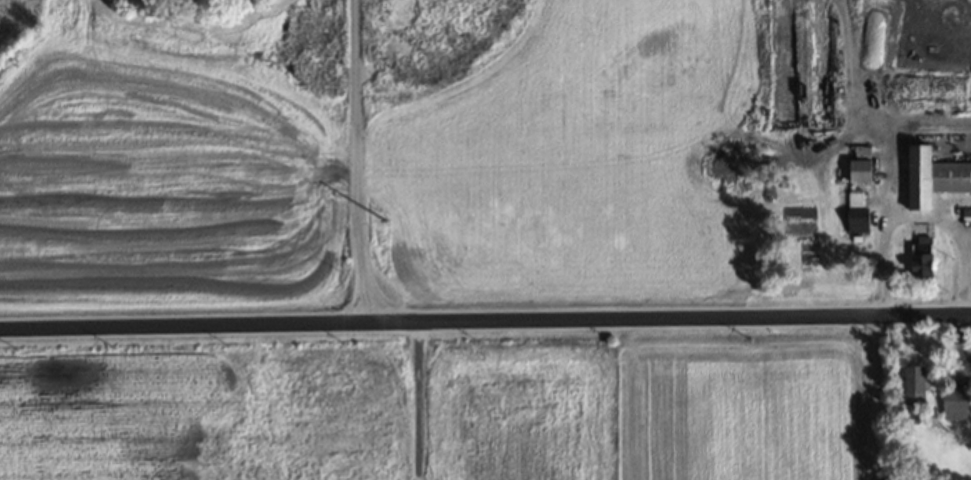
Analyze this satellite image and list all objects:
road: (845, 74)
road: (887, 131)
road: (837, 142)
road: (356, 160)
crop: (566, 170)
building: (858, 172)
crop: (167, 174)
building: (933, 175)
building: (967, 216)
road: (916, 218)
power tower: (386, 223)
building: (856, 223)
building: (920, 259)
road: (485, 318)
building: (913, 388)
road: (870, 396)
road: (418, 399)
building: (954, 407)

